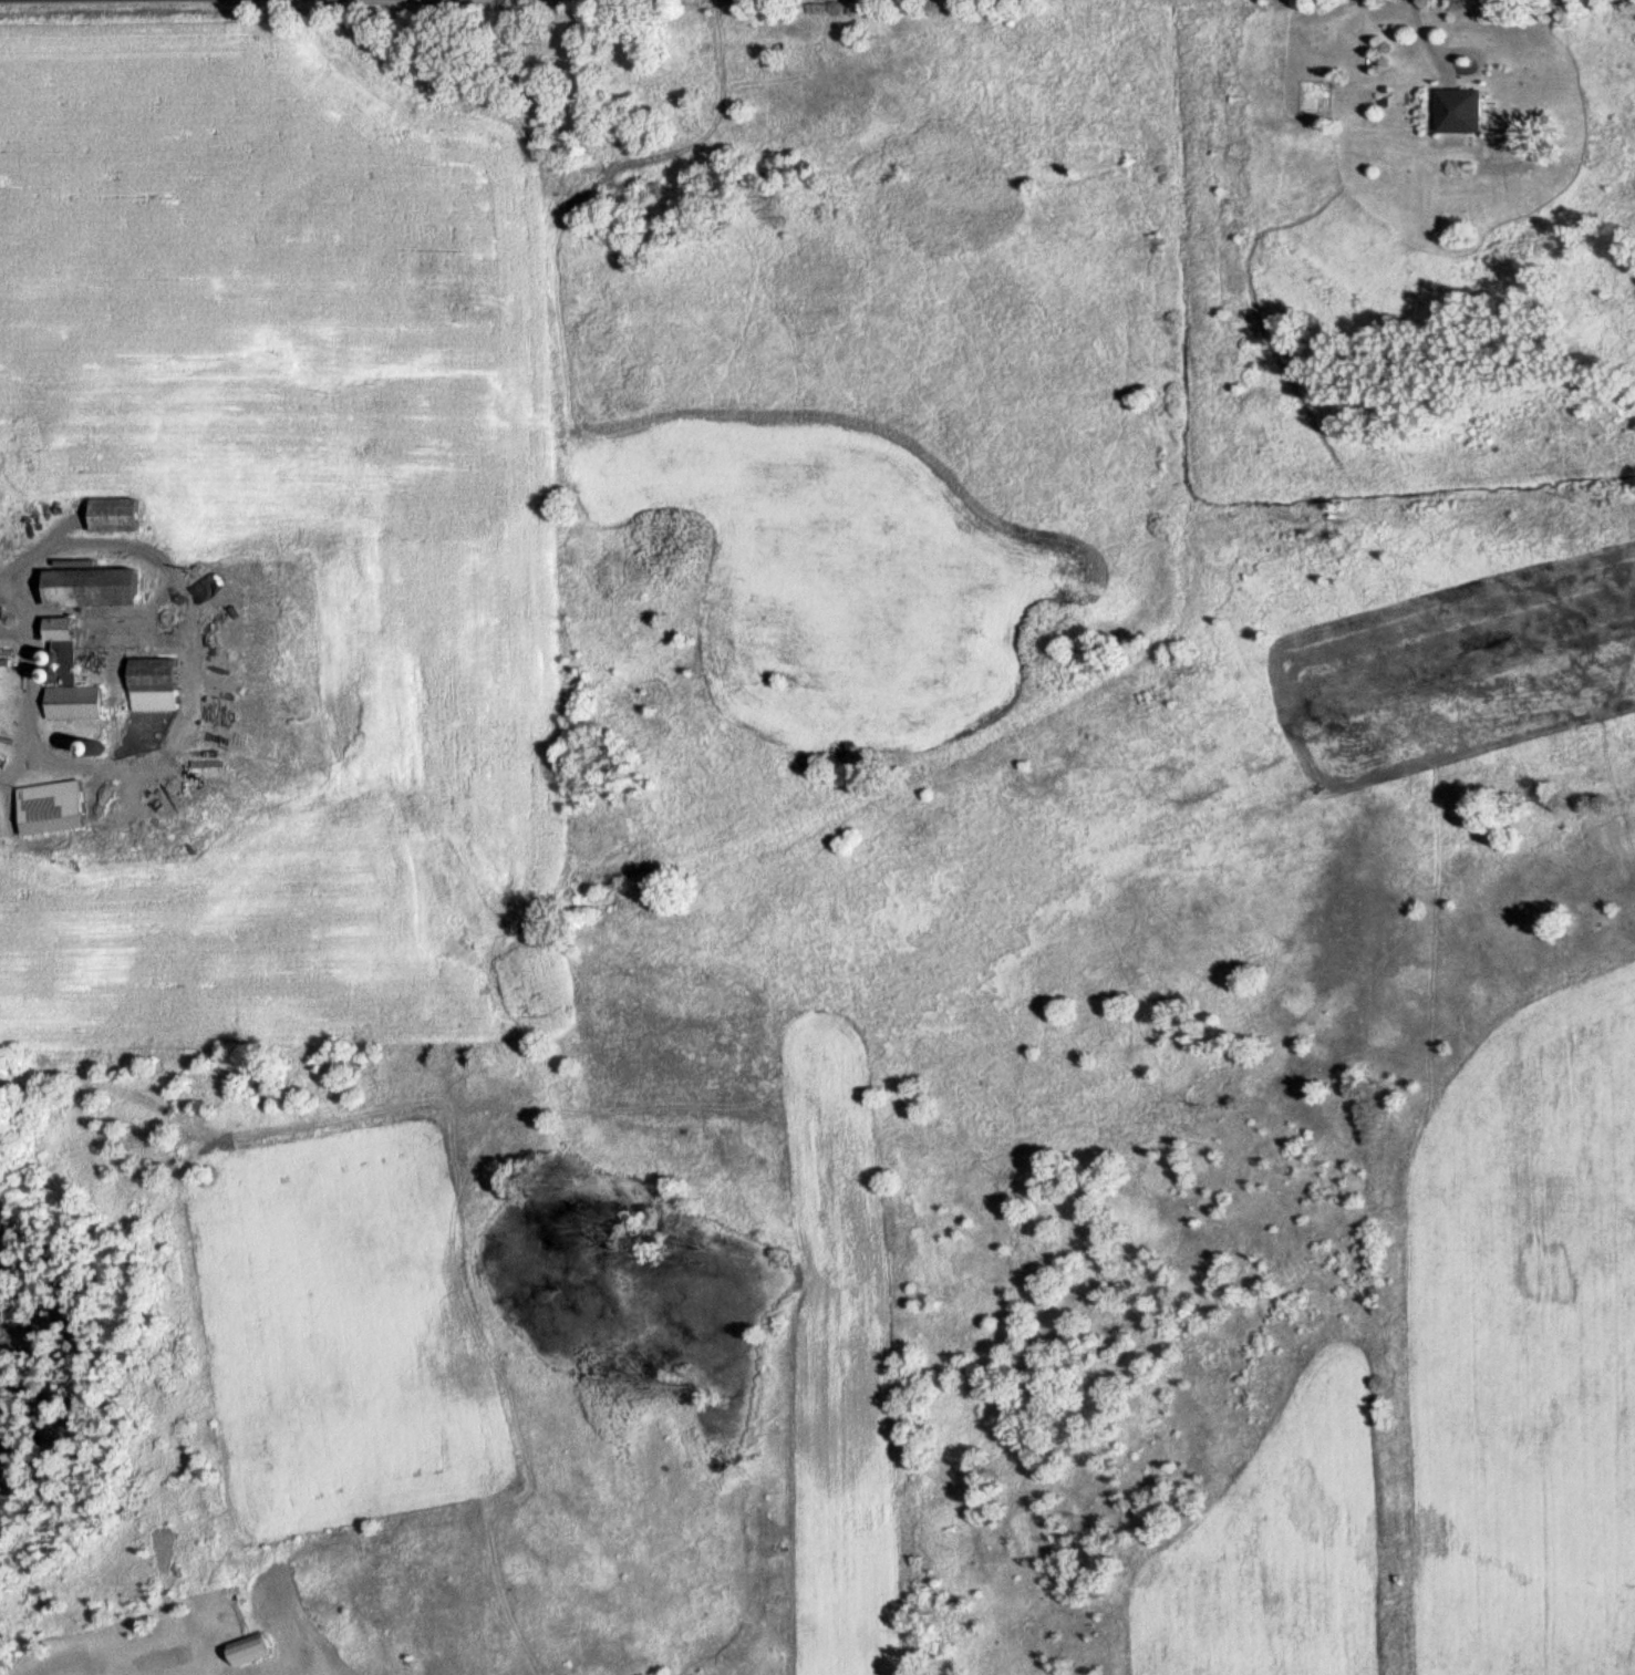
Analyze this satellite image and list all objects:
road: (1418, 29)
road: (1473, 65)
building: (1453, 112)
building: (124, 516)
building: (106, 588)
building: (79, 679)
road: (40, 682)
building: (167, 685)
building: (60, 802)

